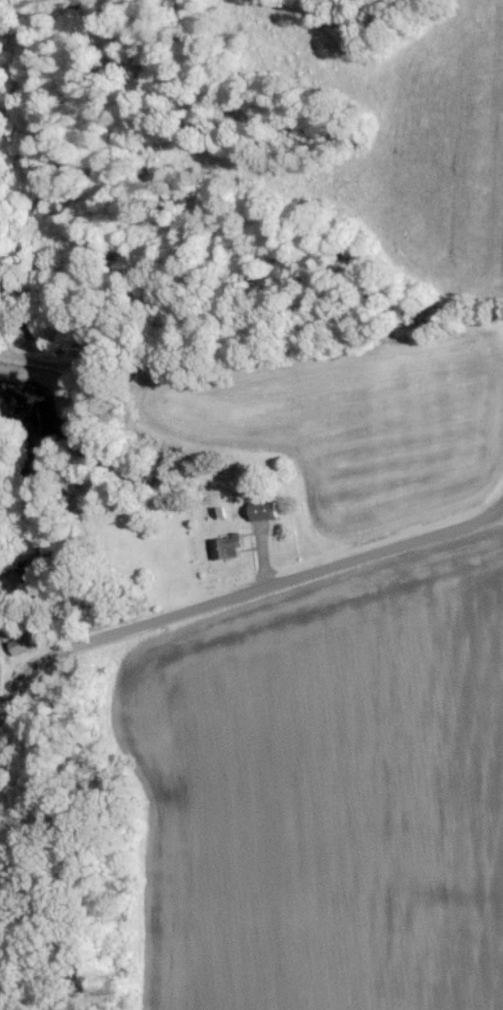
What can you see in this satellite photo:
building: (246, 526)
road: (236, 590)
building: (23, 642)

